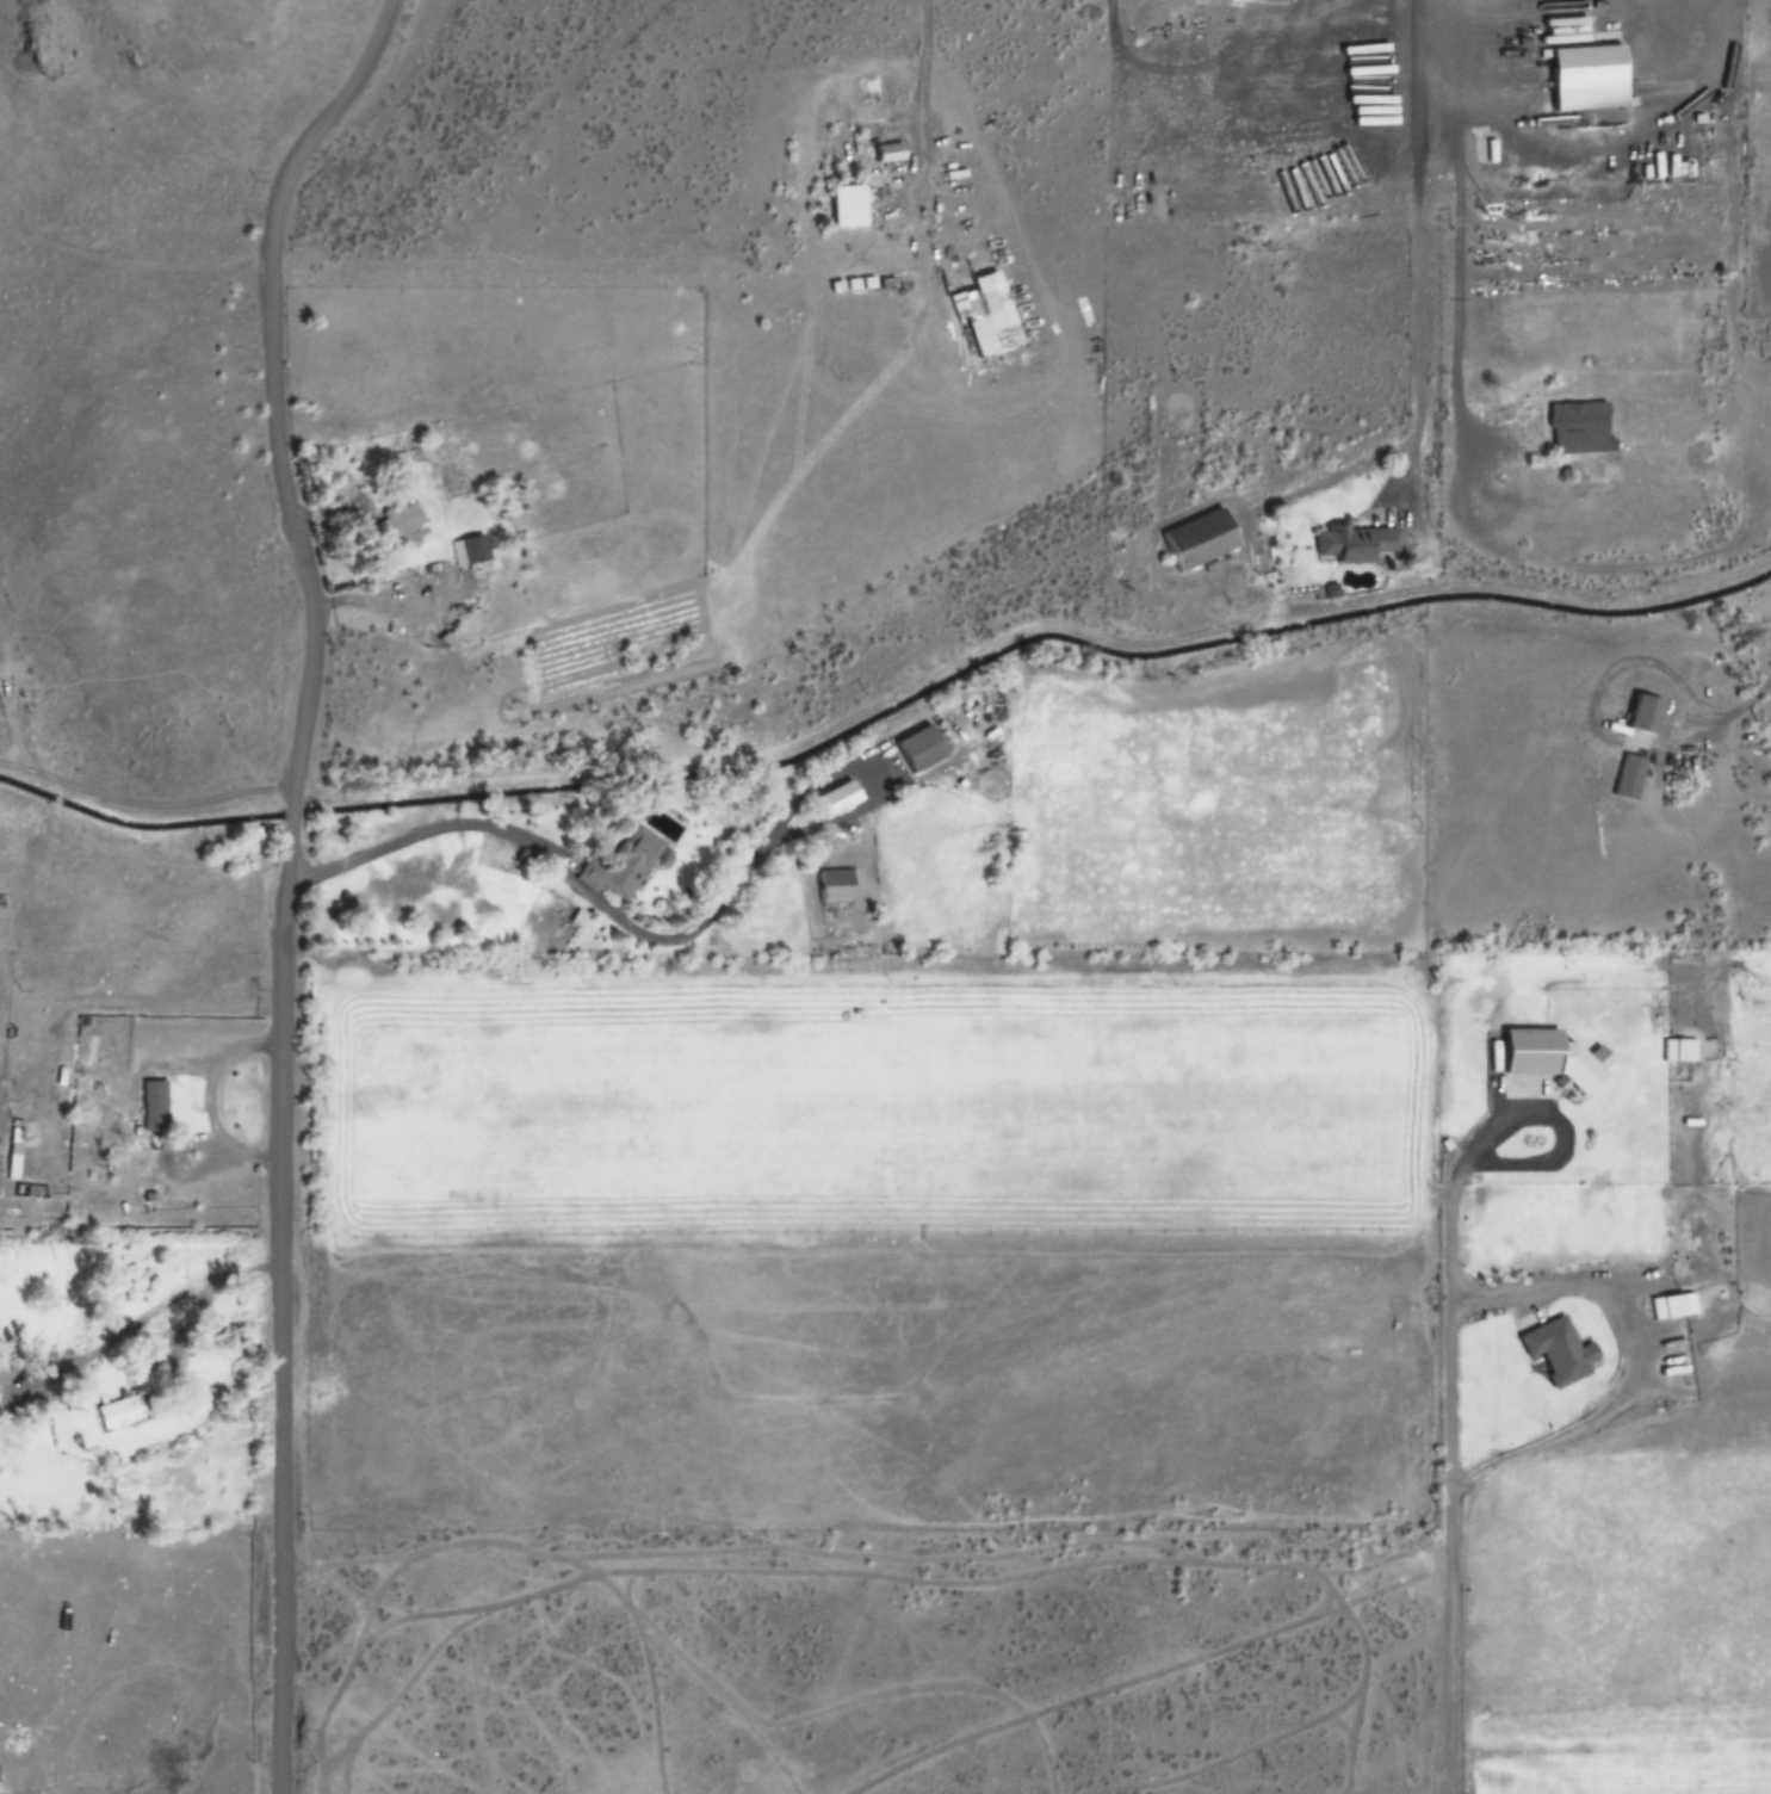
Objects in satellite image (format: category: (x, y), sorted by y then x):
building: (1581, 75)
road: (922, 78)
building: (1486, 150)
building: (846, 205)
road: (1418, 246)
building: (1494, 318)
building: (982, 320)
building: (1575, 428)
building: (392, 527)
building: (1352, 544)
building: (466, 550)
building: (1642, 716)
building: (918, 749)
building: (1627, 778)
building: (836, 798)
road: (477, 823)
building: (628, 864)
road: (293, 876)
building: (835, 885)
building: (1527, 1052)
building: (154, 1107)
building: (14, 1151)
building: (1555, 1350)
building: (118, 1411)
road: (1457, 1645)

